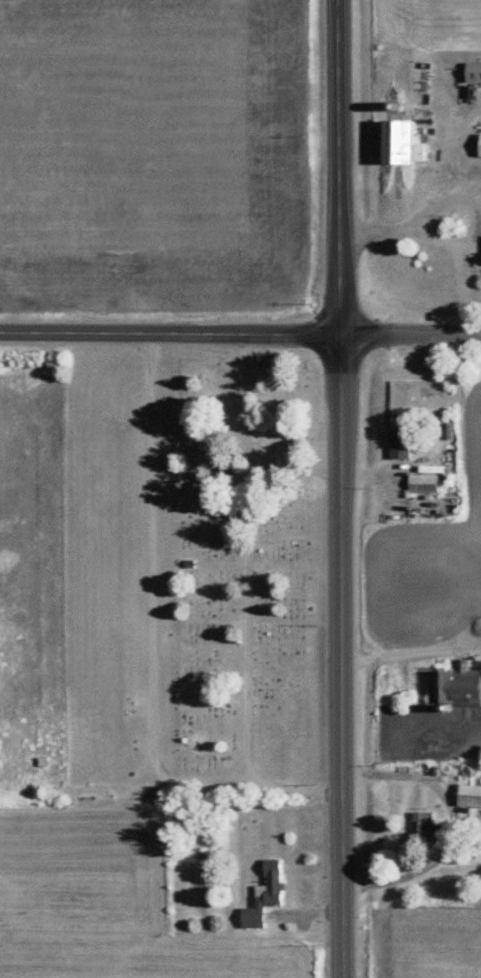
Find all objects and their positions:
building: (474, 71)
building: (402, 140)
road: (455, 146)
road: (460, 194)
road: (395, 229)
road: (169, 333)
road: (410, 334)
building: (401, 444)
building: (424, 483)
road: (339, 489)
park: (191, 573)
road: (403, 653)
building: (458, 686)
building: (471, 795)
road: (456, 822)
building: (429, 826)
building: (267, 895)

